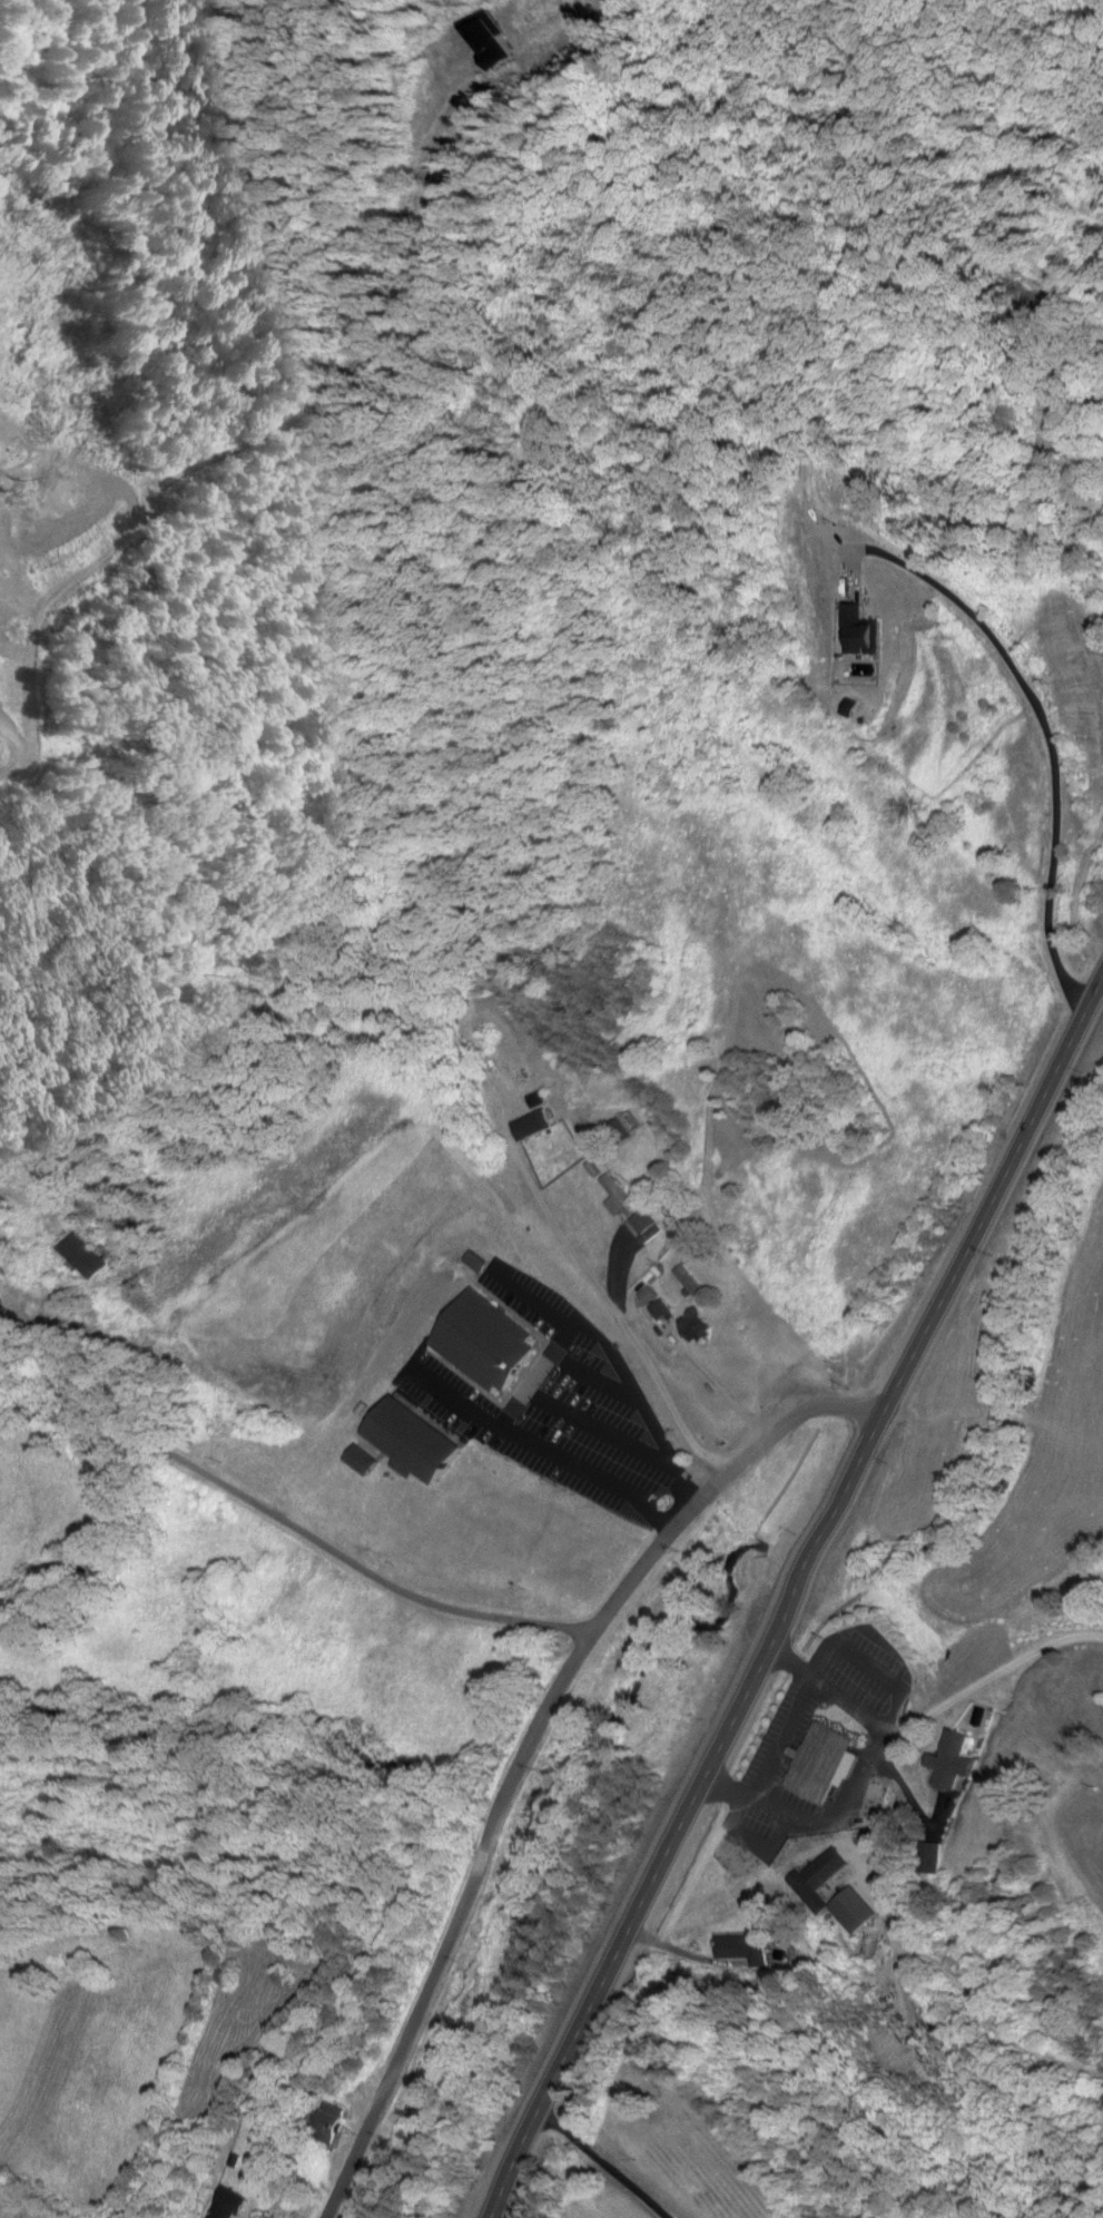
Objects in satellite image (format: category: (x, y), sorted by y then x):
building: (865, 640)
building: (532, 1126)
building: (89, 1257)
building: (691, 1283)
building: (700, 1327)
building: (480, 1344)
building: (414, 1444)
building: (363, 1462)
road: (272, 1519)
road: (797, 1597)
building: (868, 1692)
road: (538, 1747)
building: (968, 1749)
building: (825, 1764)
building: (877, 1802)
building: (830, 1868)
building: (873, 1942)
building: (748, 1946)
building: (227, 2204)

